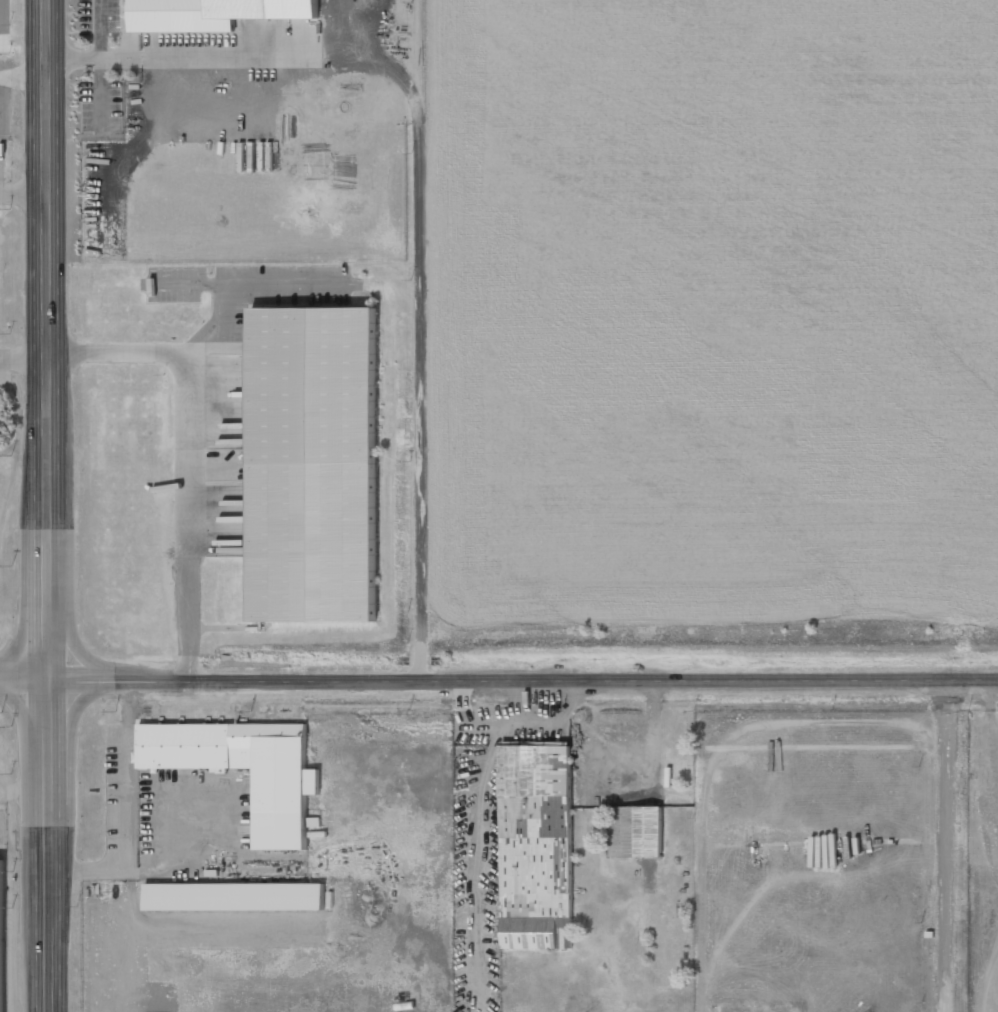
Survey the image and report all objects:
building: (212, 13)
building: (314, 464)
road: (48, 506)
road: (24, 676)
road: (523, 677)
building: (288, 783)
building: (636, 831)
building: (536, 846)
building: (235, 896)

